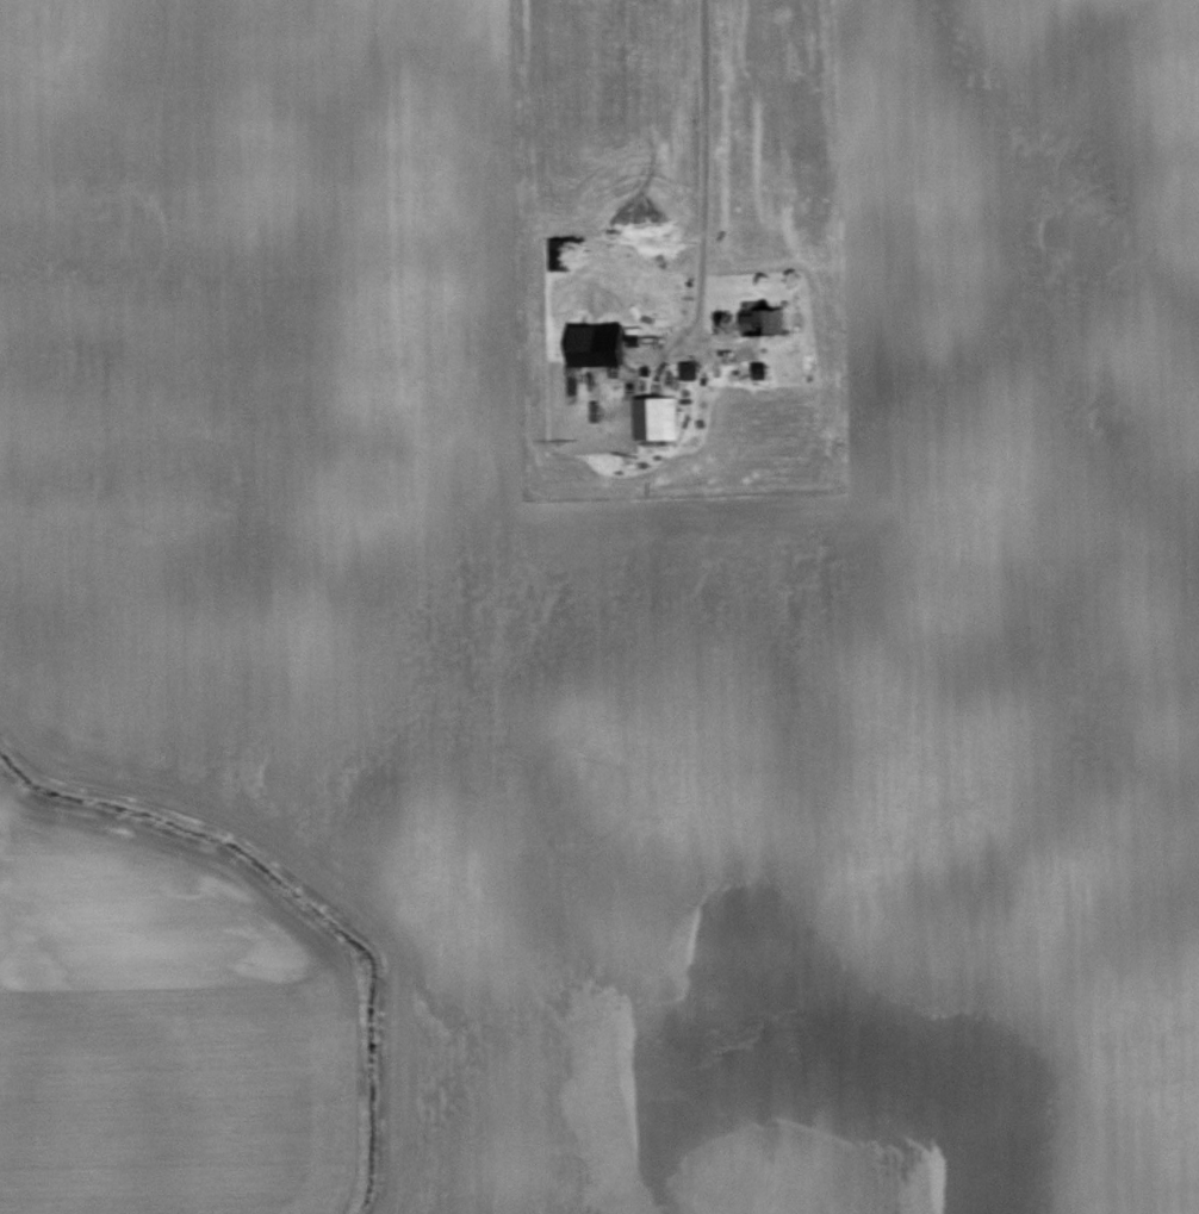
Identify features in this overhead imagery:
road: (700, 183)
building: (657, 417)

